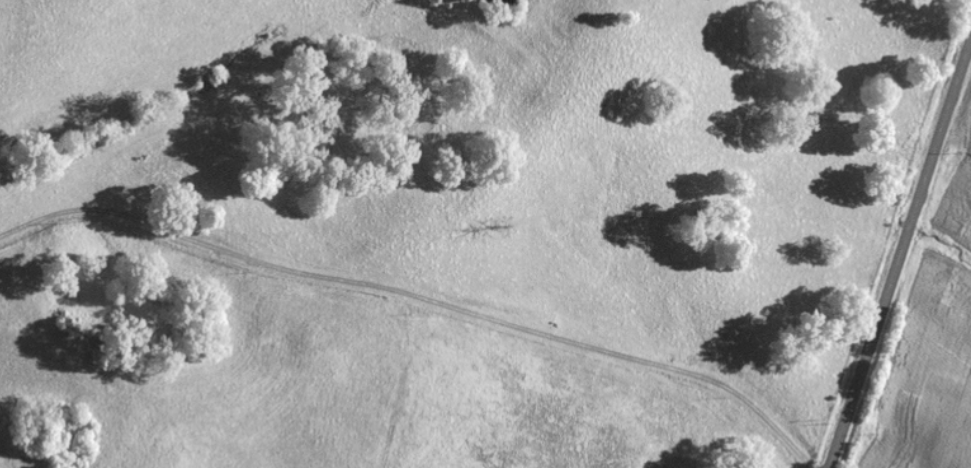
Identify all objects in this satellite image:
road: (901, 254)

